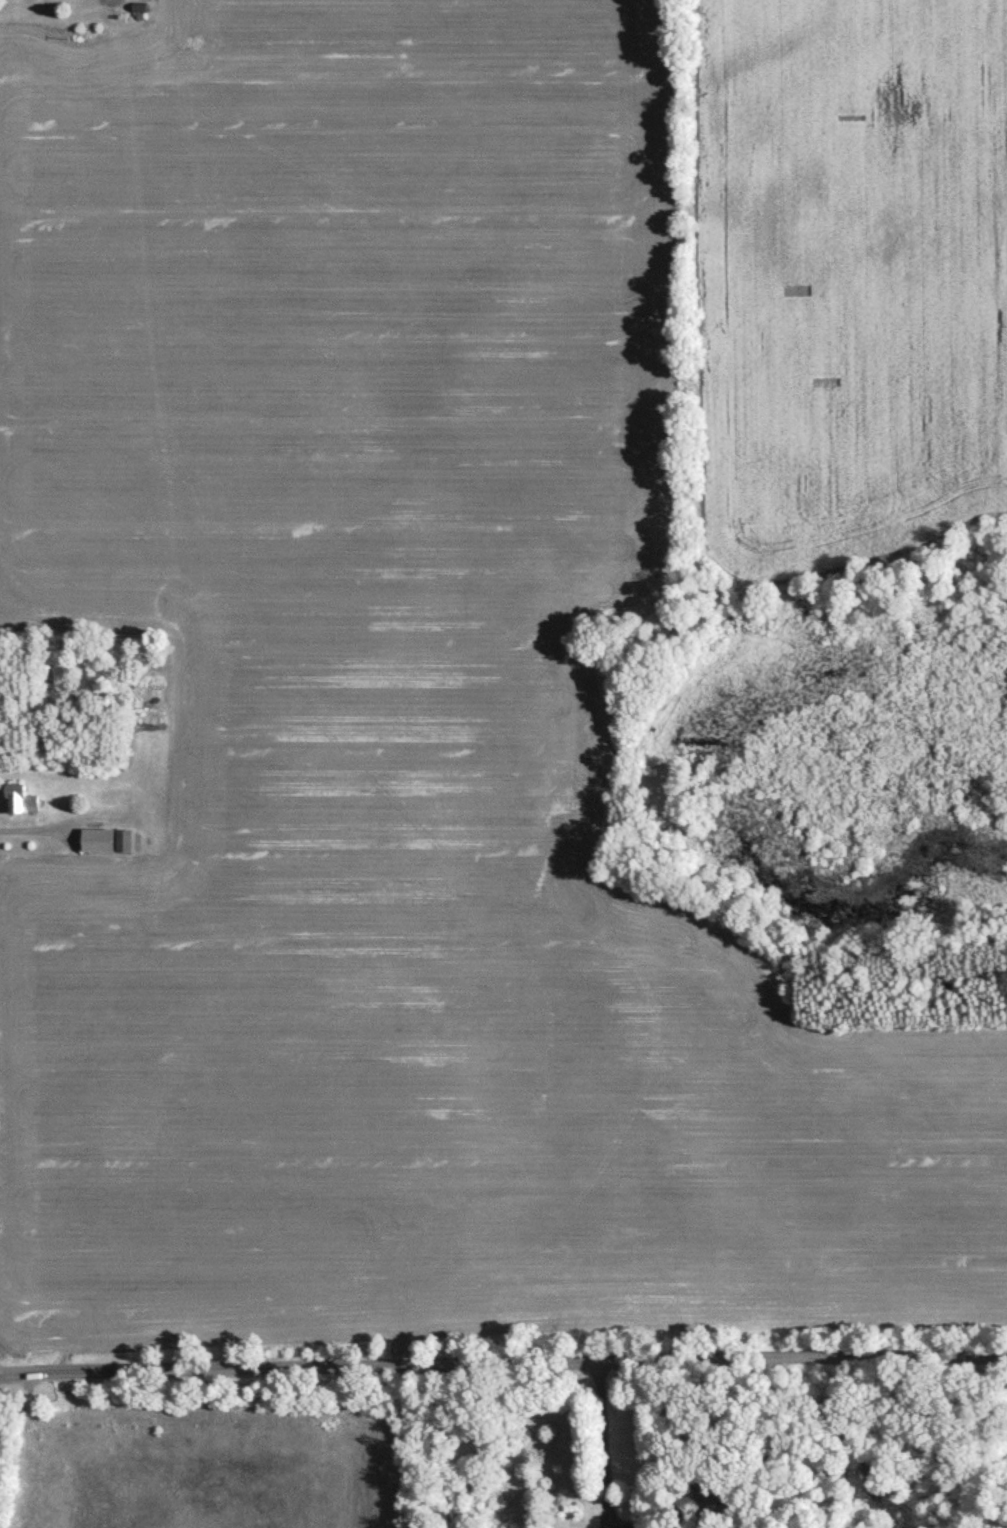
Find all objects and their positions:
building: (22, 804)
building: (105, 844)
road: (503, 1362)
road: (1005, 1363)
road: (602, 1444)

